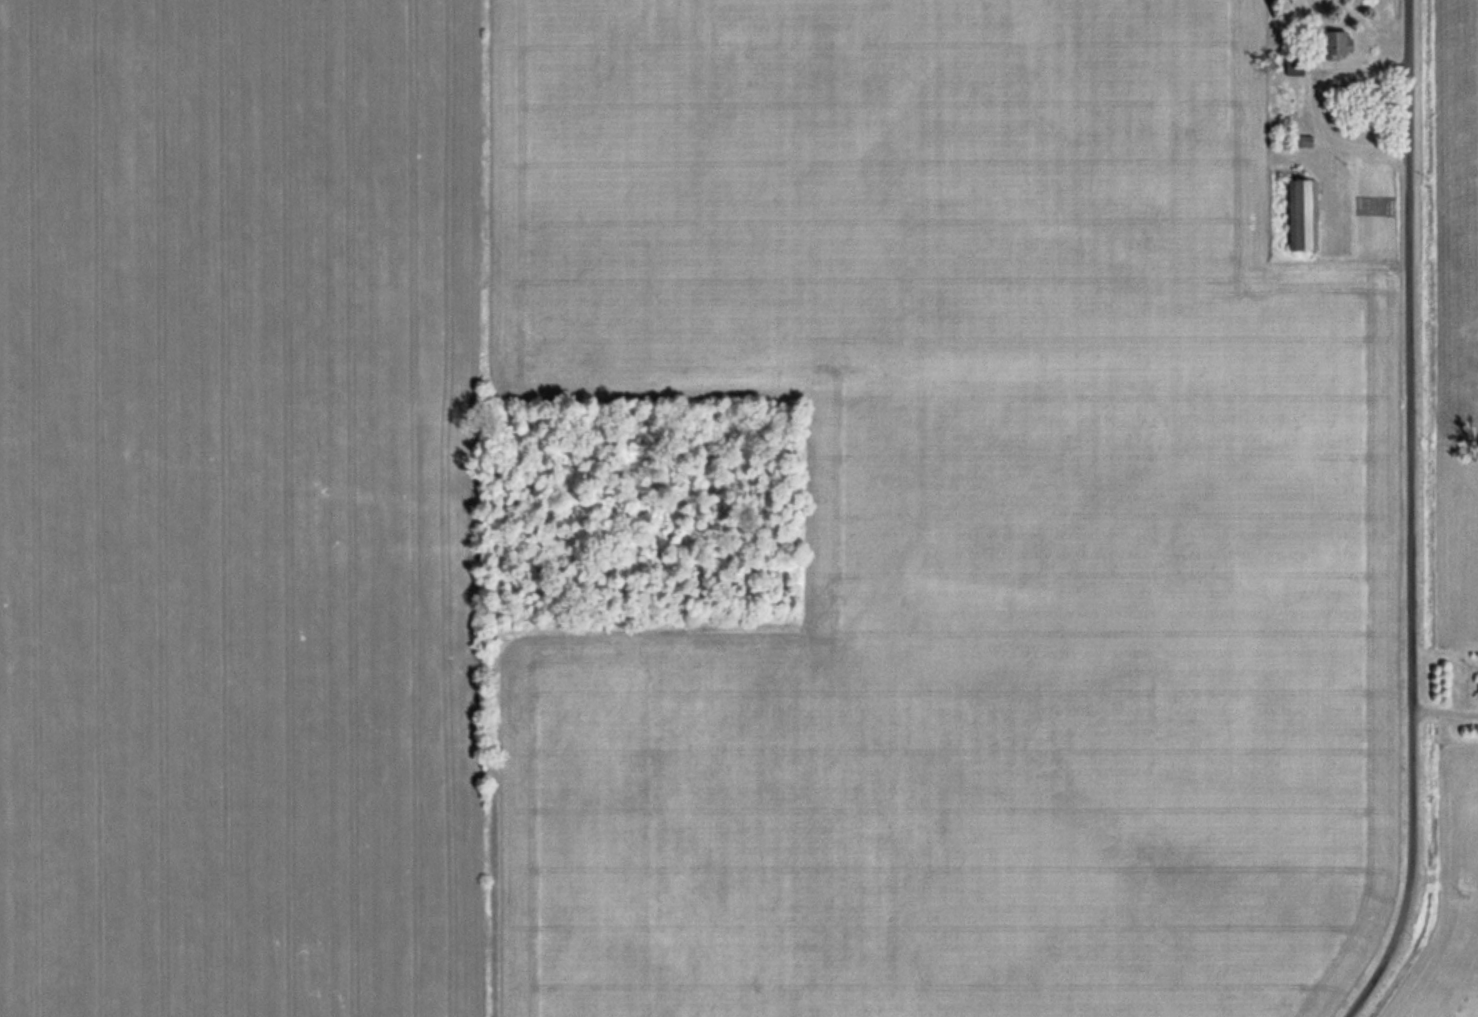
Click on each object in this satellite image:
building: (1333, 43)
building: (1291, 89)
building: (1281, 132)
building: (1302, 140)
building: (1299, 212)
road: (1410, 516)
building: (1477, 689)

